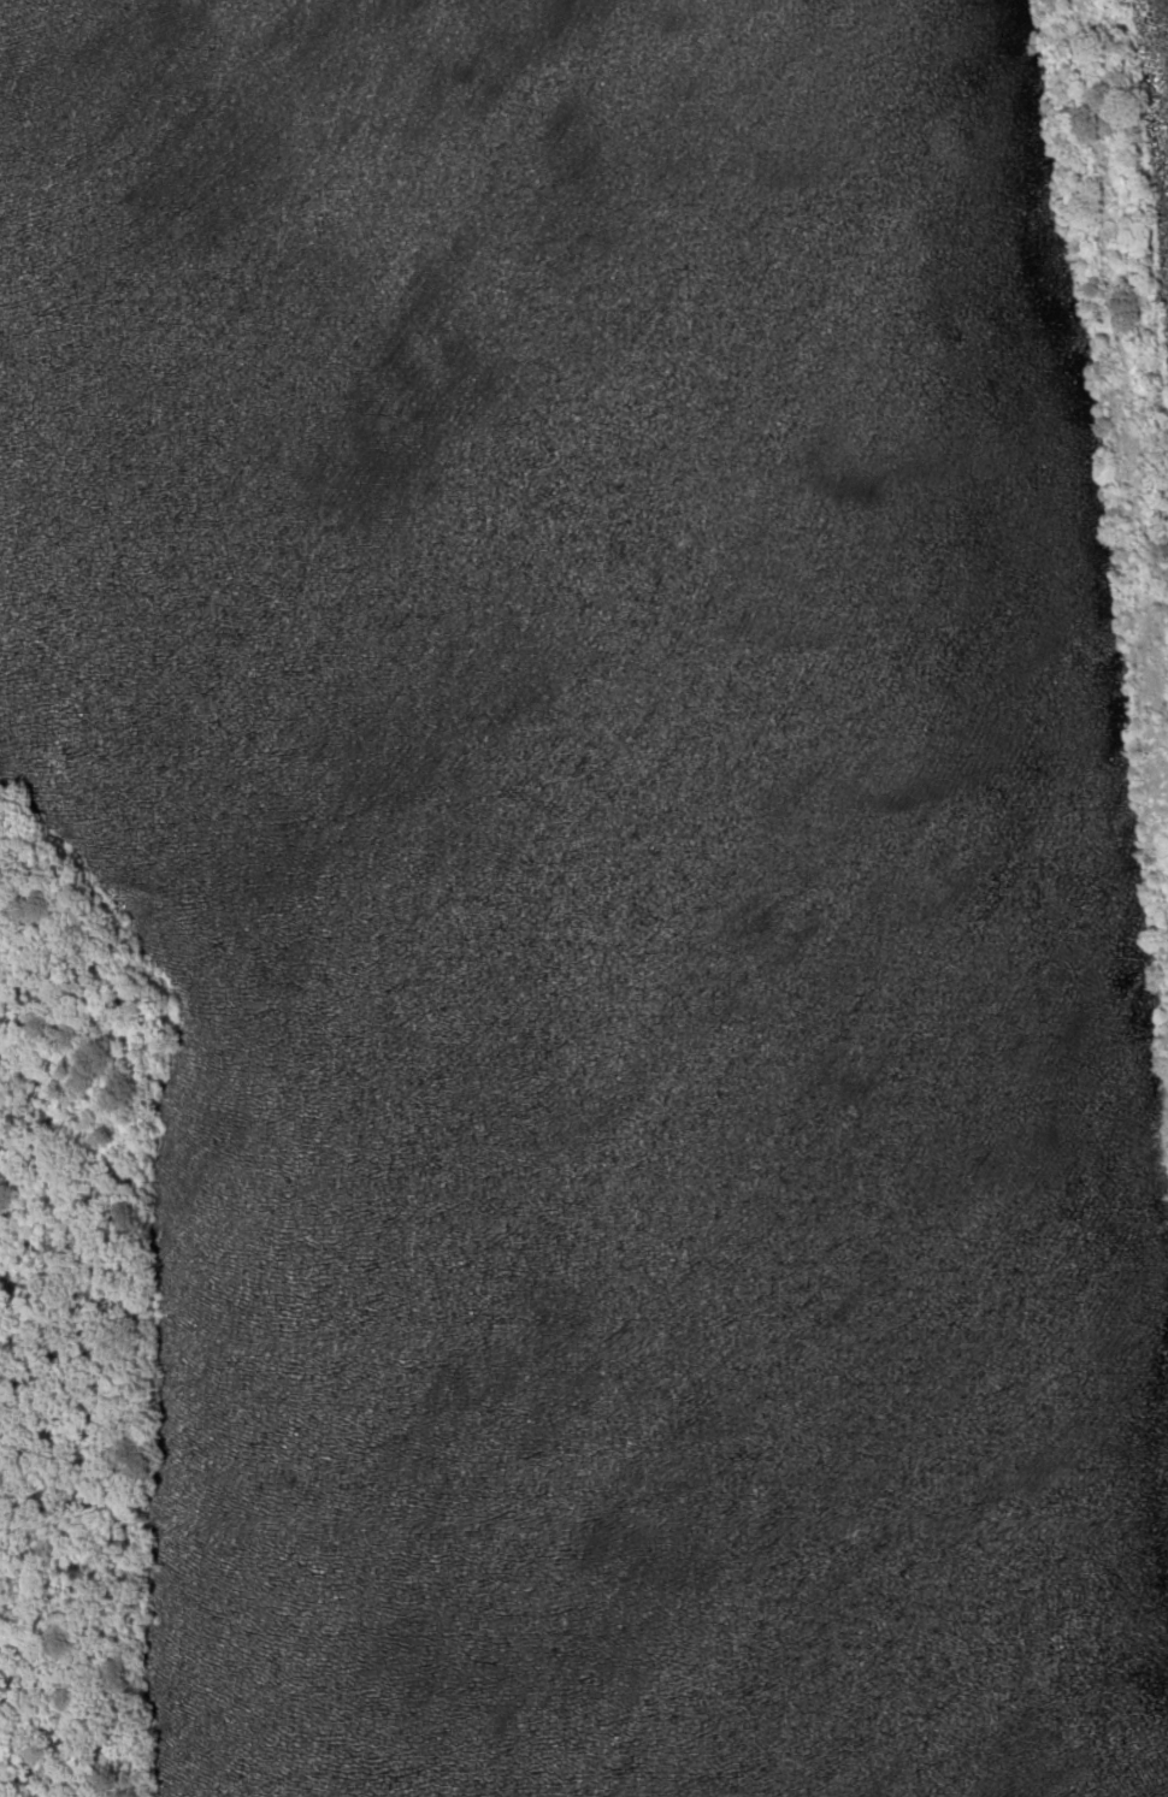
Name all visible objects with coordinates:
river: (431, 839)

